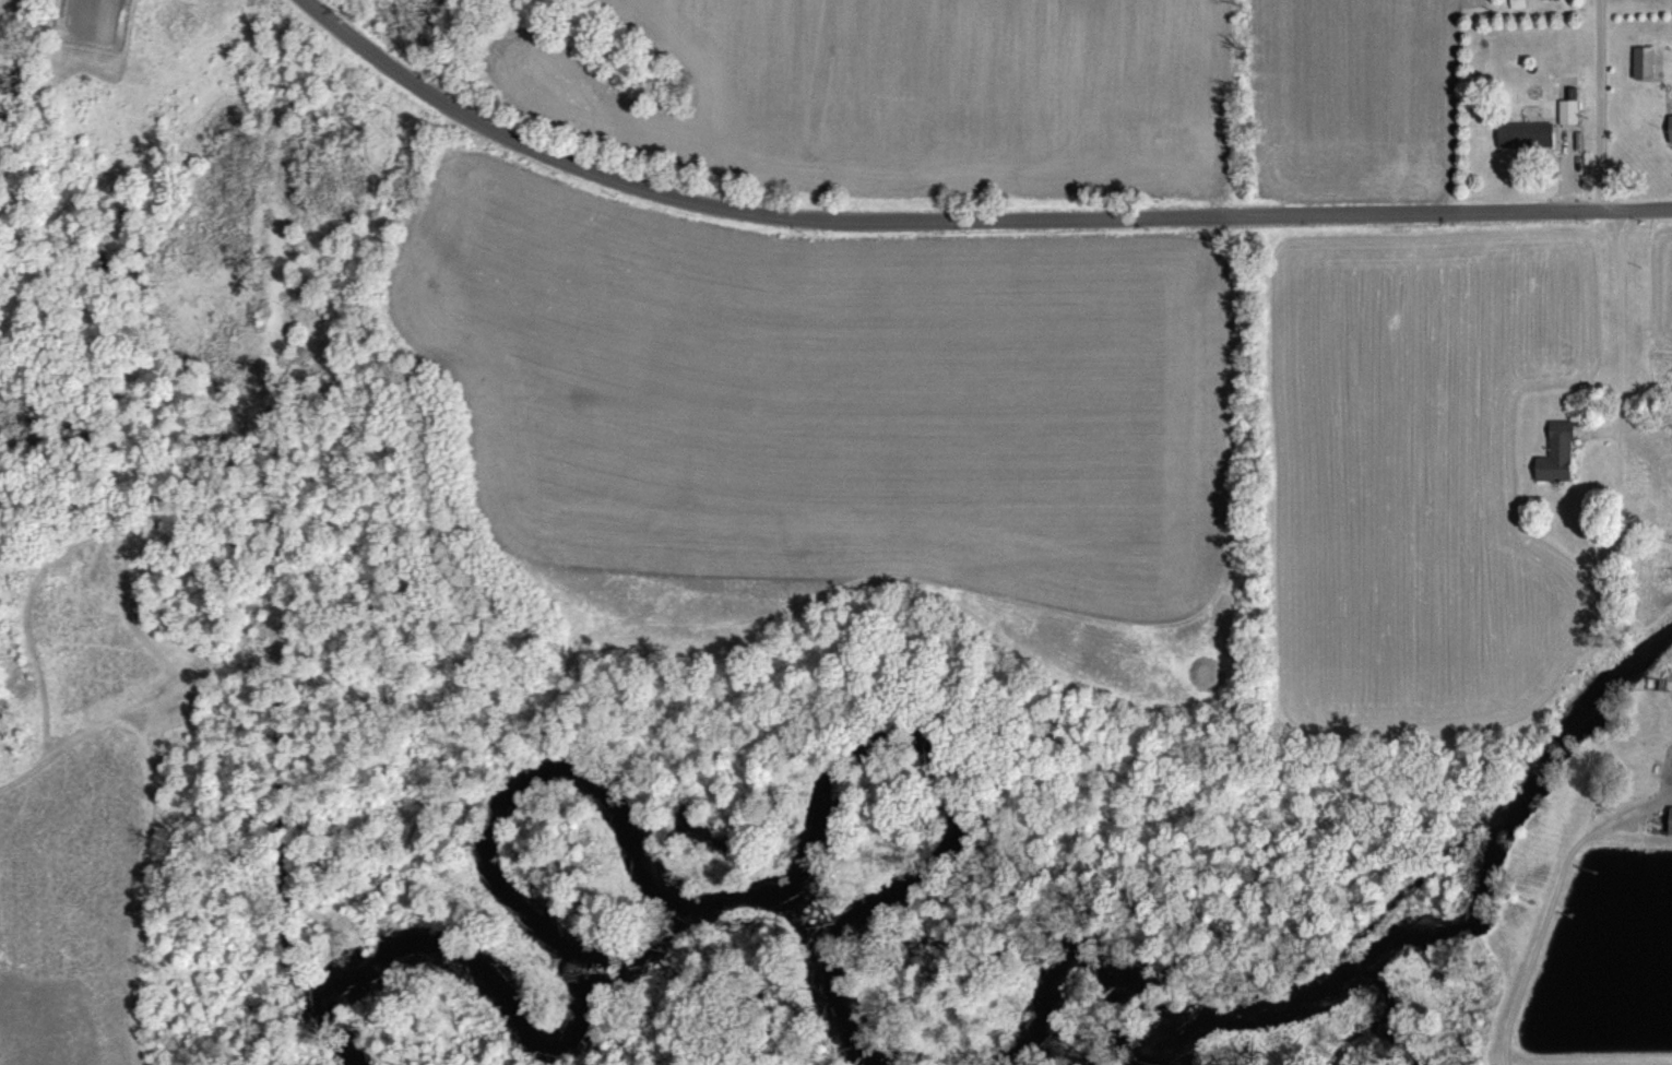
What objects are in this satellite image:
building: (1643, 62)
building: (1567, 111)
building: (1669, 128)
building: (1521, 133)
road: (962, 218)
road: (1623, 374)
building: (1555, 454)
building: (1669, 821)
river: (627, 830)
river: (1369, 968)

